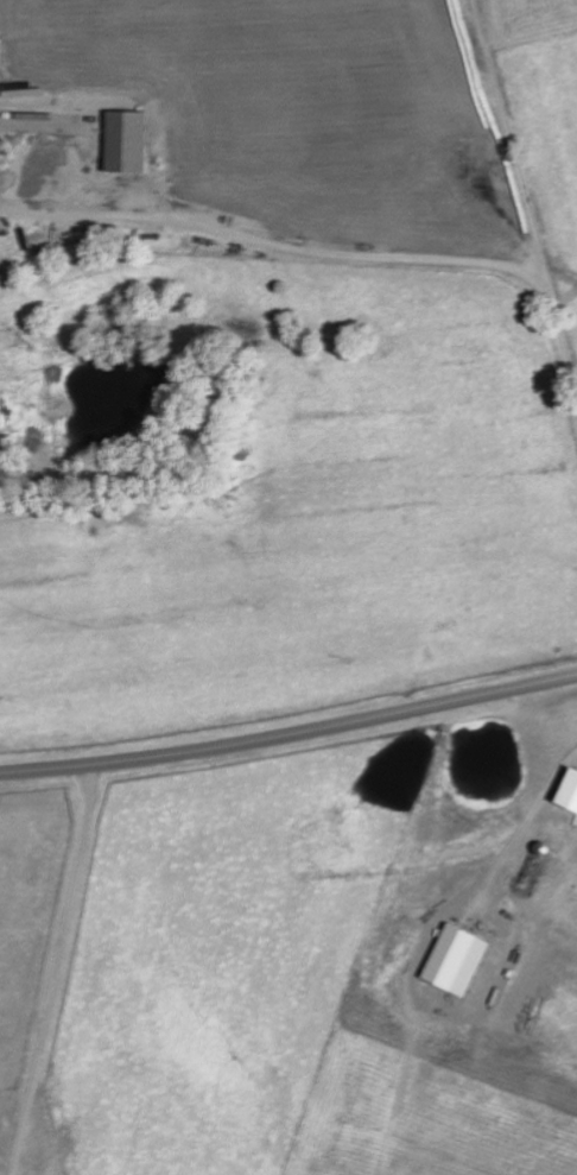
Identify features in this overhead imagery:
road: (522, 210)
road: (267, 249)
road: (290, 735)
building: (568, 792)
road: (522, 825)
building: (454, 961)
road: (56, 971)

